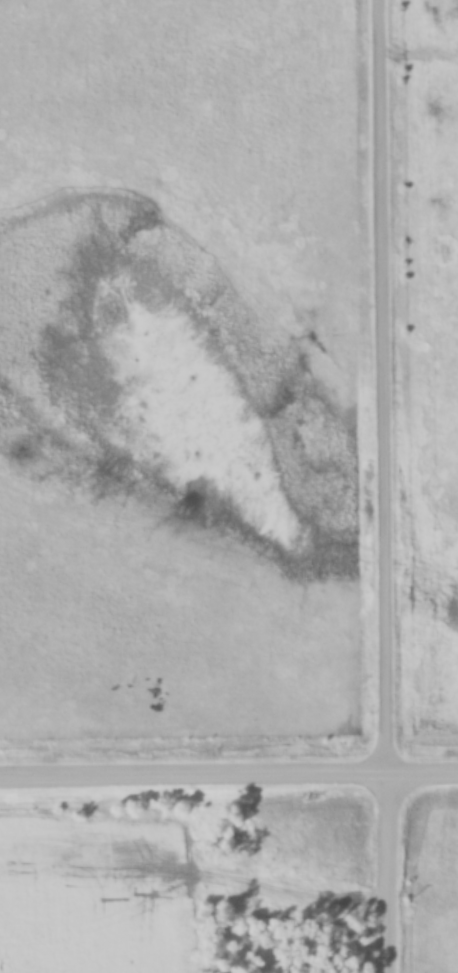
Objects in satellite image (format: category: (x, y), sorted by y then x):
road: (390, 486)
road: (228, 774)

